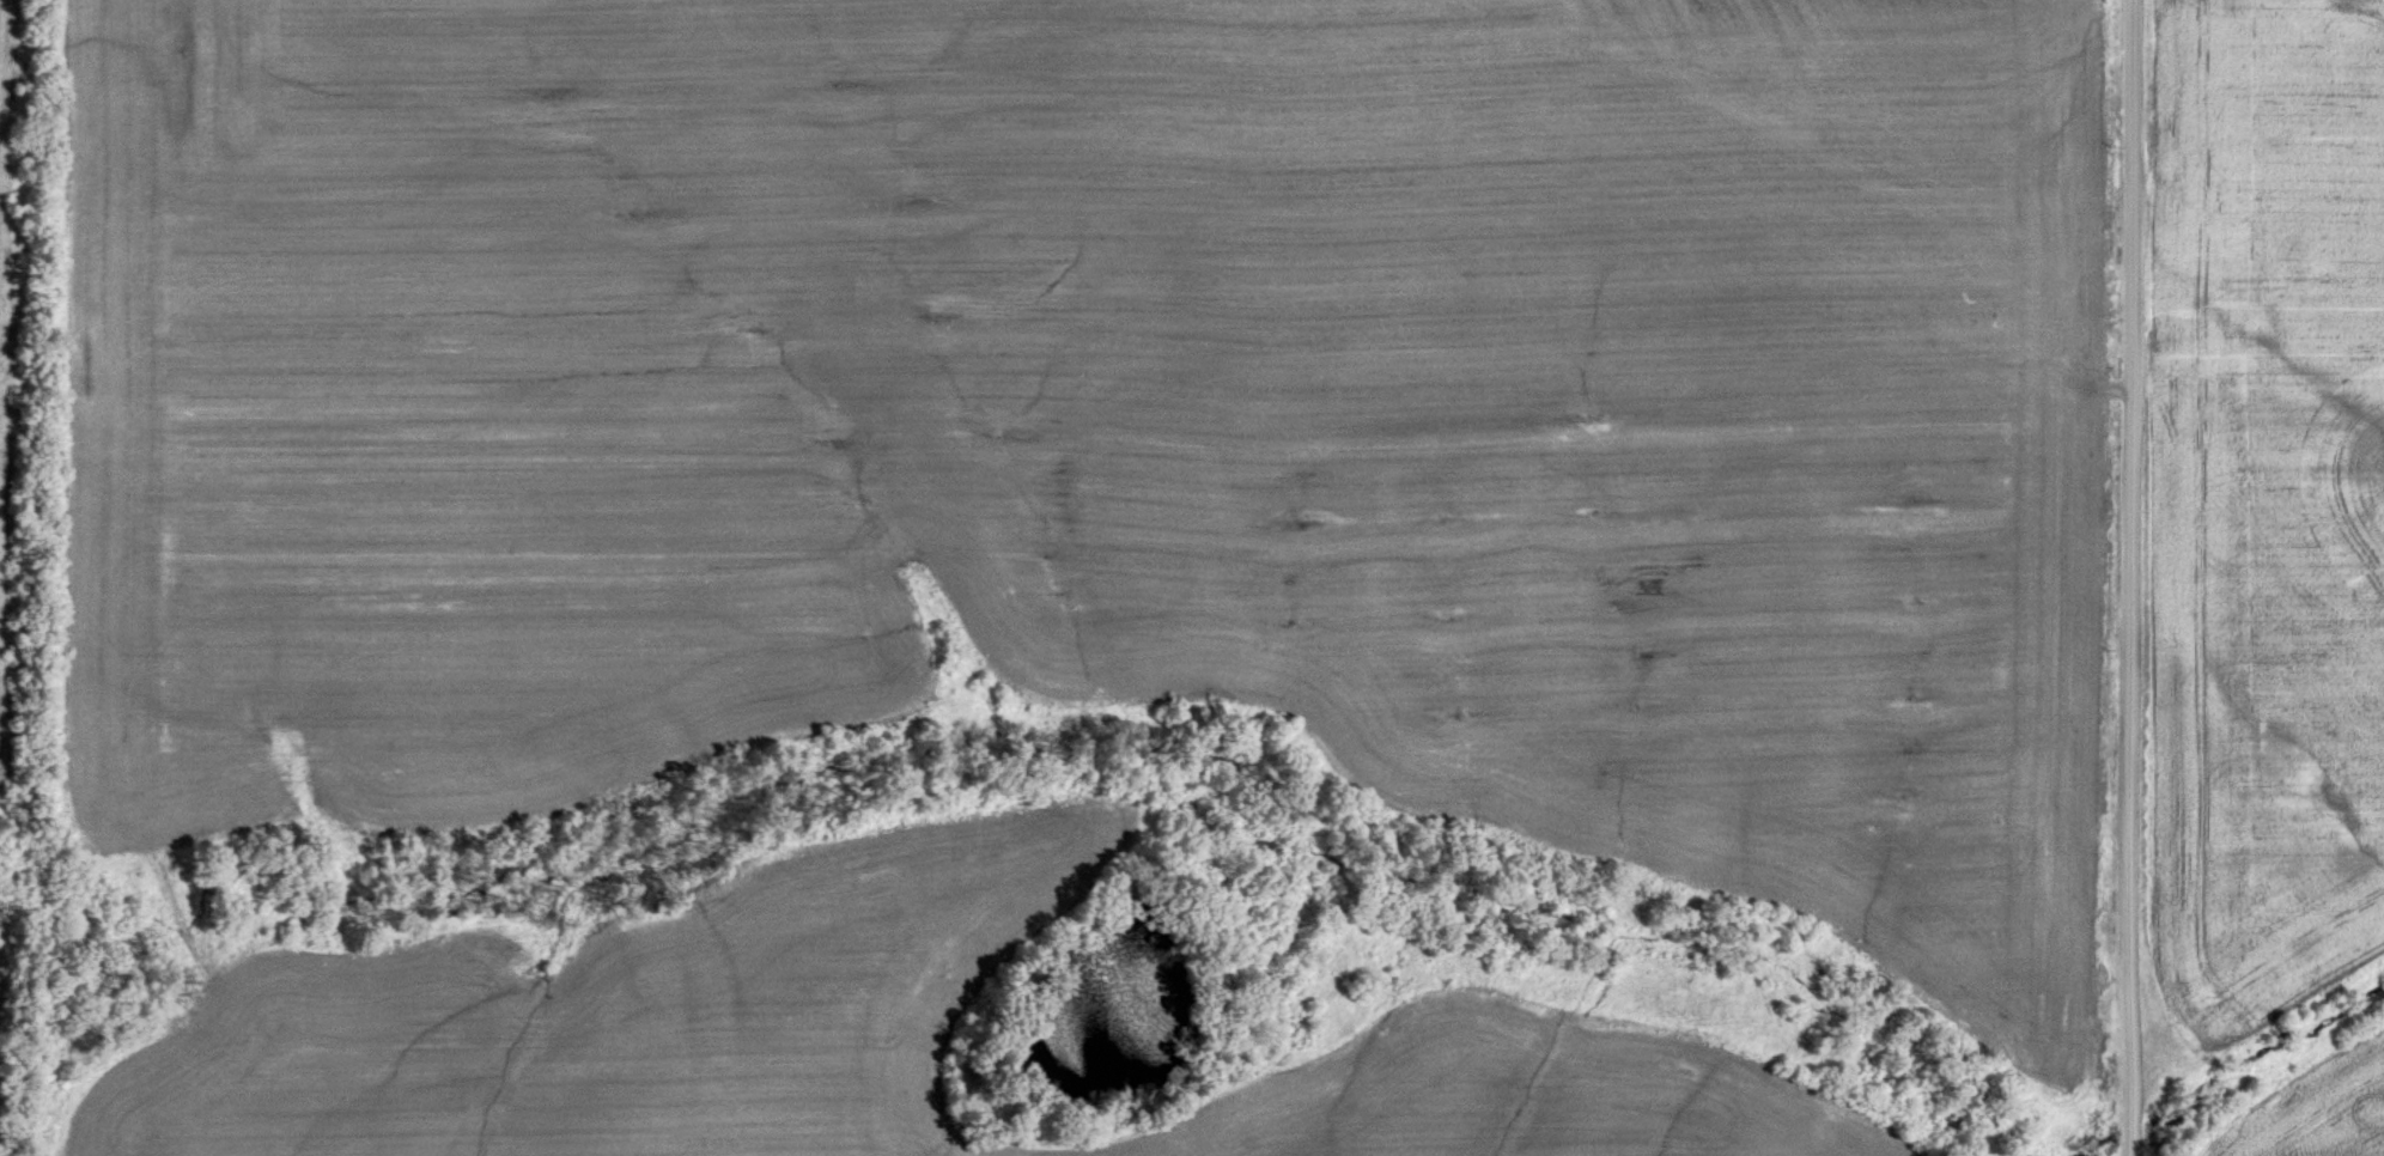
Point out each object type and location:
road: (2129, 578)

